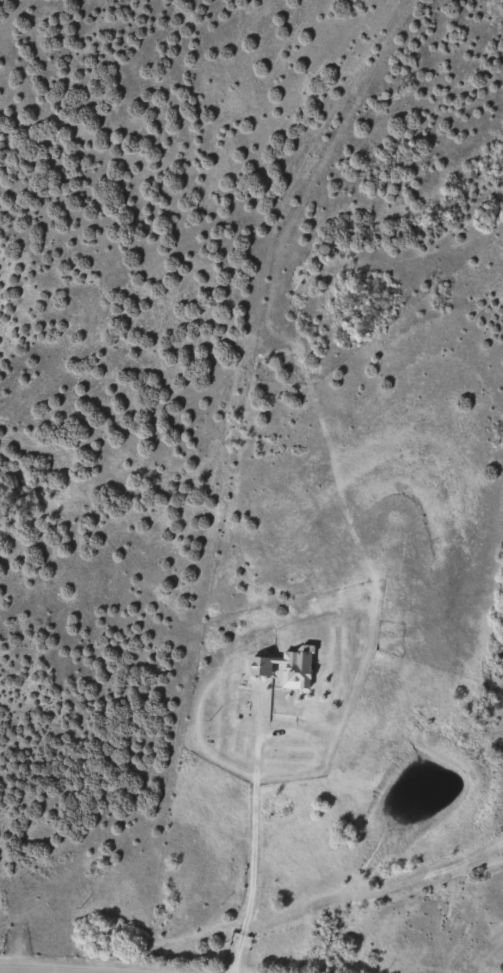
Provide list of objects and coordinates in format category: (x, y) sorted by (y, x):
road: (216, 658)
building: (289, 667)
road: (11, 971)
road: (24, 971)

